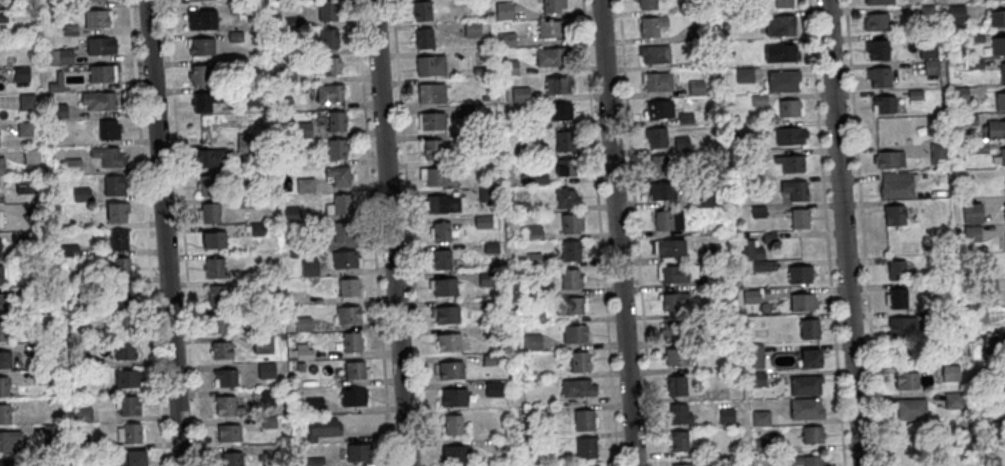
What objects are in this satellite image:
building: (95, 0)
building: (196, 0)
building: (285, 0)
building: (727, 0)
building: (877, 2)
building: (72, 4)
building: (647, 4)
building: (782, 4)
building: (552, 5)
building: (685, 7)
building: (420, 9)
building: (235, 10)
building: (503, 10)
building: (325, 11)
building: (924, 12)
building: (2, 17)
building: (745, 17)
building: (955, 17)
building: (996, 18)
building: (95, 19)
building: (200, 19)
building: (874, 21)
building: (291, 23)
building: (649, 25)
building: (778, 25)
building: (471, 29)
building: (548, 29)
building: (68, 31)
building: (699, 32)
building: (234, 37)
building: (422, 37)
building: (973, 37)
building: (327, 38)
building: (504, 40)
building: (99, 45)
building: (997, 45)
building: (200, 46)
building: (876, 49)
building: (728, 51)
building: (926, 51)
building: (778, 53)
building: (653, 54)
building: (547, 56)
building: (60, 57)
building: (701, 62)
building: (973, 64)
building: (429, 65)
building: (327, 66)
building: (929, 67)
building: (508, 68)
building: (476, 71)
building: (1002, 72)
building: (99, 74)
building: (198, 74)
building: (20, 75)
building: (743, 76)
building: (877, 76)
building: (286, 77)
building: (657, 81)
building: (782, 81)
building: (55, 84)
building: (557, 84)
building: (694, 88)
building: (330, 93)
building: (430, 93)
building: (519, 95)
building: (959, 95)
building: (251, 96)
building: (913, 98)
building: (98, 100)
building: (205, 100)
building: (26, 101)
building: (757, 101)
building: (999, 101)
building: (284, 104)
building: (883, 104)
building: (787, 108)
building: (658, 109)
building: (463, 111)
building: (559, 111)
building: (58, 112)
building: (684, 118)
building: (335, 120)
building: (967, 120)
building: (431, 121)
building: (525, 123)
building: (996, 128)
building: (24, 129)
building: (107, 129)
building: (303, 130)
building: (737, 131)
building: (789, 135)
building: (655, 136)
building: (563, 140)
building: (243, 143)
building: (680, 144)
building: (980, 147)
building: (335, 148)
building: (431, 148)
building: (525, 150)
building: (937, 153)
building: (106, 156)
building: (1000, 156)
building: (31, 157)
building: (211, 158)
building: (744, 159)
building: (887, 159)
building: (789, 163)
building: (658, 165)
building: (1, 166)
building: (72, 166)
building: (564, 167)
building: (242, 174)
building: (338, 175)
building: (431, 176)
building: (522, 179)
building: (536, 179)
building: (113, 185)
building: (208, 185)
building: (304, 185)
building: (895, 185)
building: (26, 186)
building: (752, 186)
building: (970, 186)
building: (793, 189)
building: (661, 191)
building: (80, 194)
building: (485, 195)
building: (565, 198)
building: (706, 198)
building: (244, 202)
building: (342, 203)
building: (443, 203)
building: (523, 206)
building: (1004, 208)
building: (35, 210)
building: (116, 211)
building: (756, 212)
building: (972, 212)
building: (209, 213)
building: (291, 215)
building: (892, 215)
building: (799, 218)
building: (668, 219)
building: (483, 220)
building: (572, 221)
building: (257, 230)
building: (343, 230)
building: (442, 230)
road: (145, 232)
road: (183, 232)
road: (373, 232)
building: (534, 232)
road: (600, 232)
road: (163, 233)
road: (390, 233)
road: (409, 233)
road: (615, 233)
road: (636, 233)
road: (826, 233)
road: (842, 233)
road: (862, 233)
building: (972, 233)
building: (770, 236)
building: (18, 239)
building: (118, 240)
building: (213, 240)
building: (301, 243)
building: (670, 246)
building: (0, 247)
building: (491, 247)
building: (570, 249)
building: (750, 249)
building: (712, 251)
building: (68, 252)
building: (346, 258)
building: (442, 258)
building: (534, 259)
building: (761, 264)
building: (120, 266)
building: (309, 268)
building: (897, 268)
building: (214, 269)
building: (674, 272)
building: (800, 272)
building: (1, 274)
building: (572, 277)
building: (488, 278)
building: (349, 285)
building: (445, 285)
building: (990, 286)
building: (541, 289)
building: (32, 291)
building: (122, 291)
building: (217, 295)
building: (752, 296)
building: (898, 296)
building: (675, 300)
building: (2, 301)
building: (804, 301)
building: (88, 304)
building: (569, 304)
building: (350, 313)
building: (447, 313)
building: (929, 314)
building: (536, 316)
building: (979, 317)
building: (125, 320)
building: (219, 321)
building: (304, 323)
building: (903, 323)
building: (810, 327)
building: (3, 329)
building: (672, 330)
building: (575, 333)
building: (746, 333)
building: (352, 340)
building: (449, 340)
building: (533, 341)
building: (264, 343)
building: (994, 345)
building: (124, 348)
building: (223, 348)
building: (305, 351)
building: (676, 354)
building: (755, 354)
building: (811, 354)
building: (5, 358)
building: (490, 358)
building: (77, 359)
building: (580, 359)
building: (451, 367)
building: (267, 369)
building: (352, 369)
building: (996, 371)
building: (951, 373)
building: (227, 376)
building: (45, 377)
building: (128, 377)
building: (758, 378)
building: (907, 378)
building: (677, 383)
building: (805, 383)
building: (4, 385)
building: (578, 386)
building: (493, 387)
building: (354, 395)
building: (454, 395)
building: (268, 396)
building: (997, 397)
building: (954, 401)
building: (130, 404)
building: (315, 404)
building: (228, 405)
building: (806, 407)
building: (910, 407)
building: (538, 410)
building: (680, 412)
building: (5, 413)
building: (70, 414)
building: (83, 414)
building: (727, 415)
building: (761, 416)
building: (283, 418)
building: (297, 418)
building: (584, 418)
building: (269, 420)
building: (453, 422)
building: (323, 426)
building: (51, 431)
building: (132, 431)
building: (229, 432)
building: (813, 432)
building: (81, 434)
building: (9, 438)
building: (679, 439)
building: (502, 441)
building: (762, 444)
building: (82, 445)
building: (912, 445)
building: (586, 446)
building: (359, 450)
building: (455, 451)
building: (272, 452)
building: (131, 457)
building: (233, 458)
building: (316, 460)
building: (801, 460)
building: (992, 460)
building: (8, 462)
building: (682, 463)
building: (734, 464)
building: (459, 465)
building: (507, 465)
building: (589, 465)
building: (697, 465)

